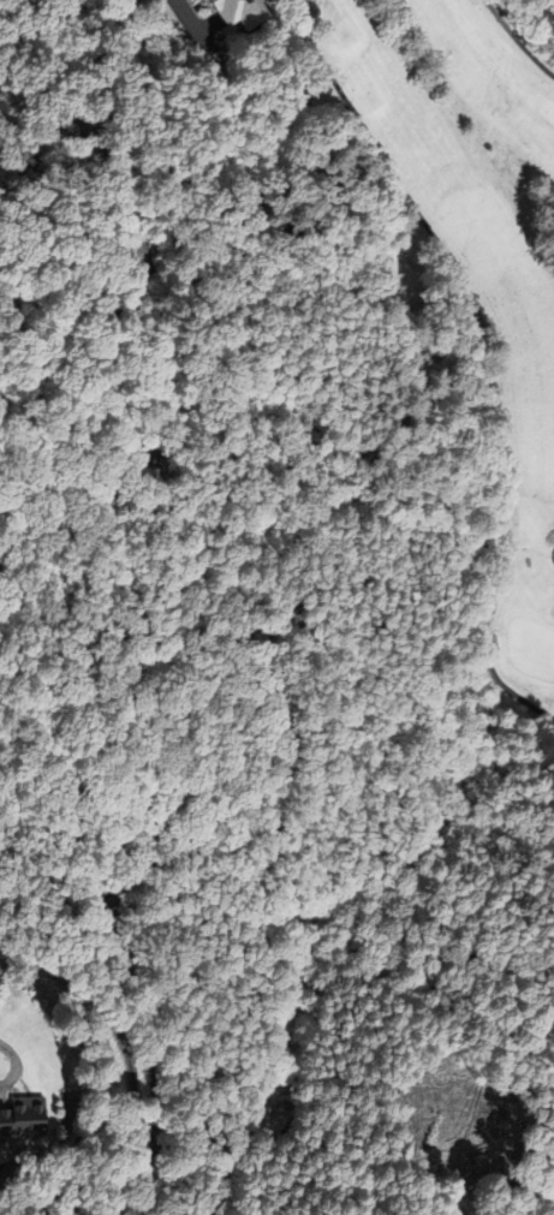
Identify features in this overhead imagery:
road: (267, 5)
building: (234, 12)
road: (193, 25)
road: (518, 40)
park: (475, 274)
road: (482, 355)
road: (256, 656)
road: (120, 1036)
road: (13, 1064)
building: (19, 1121)

